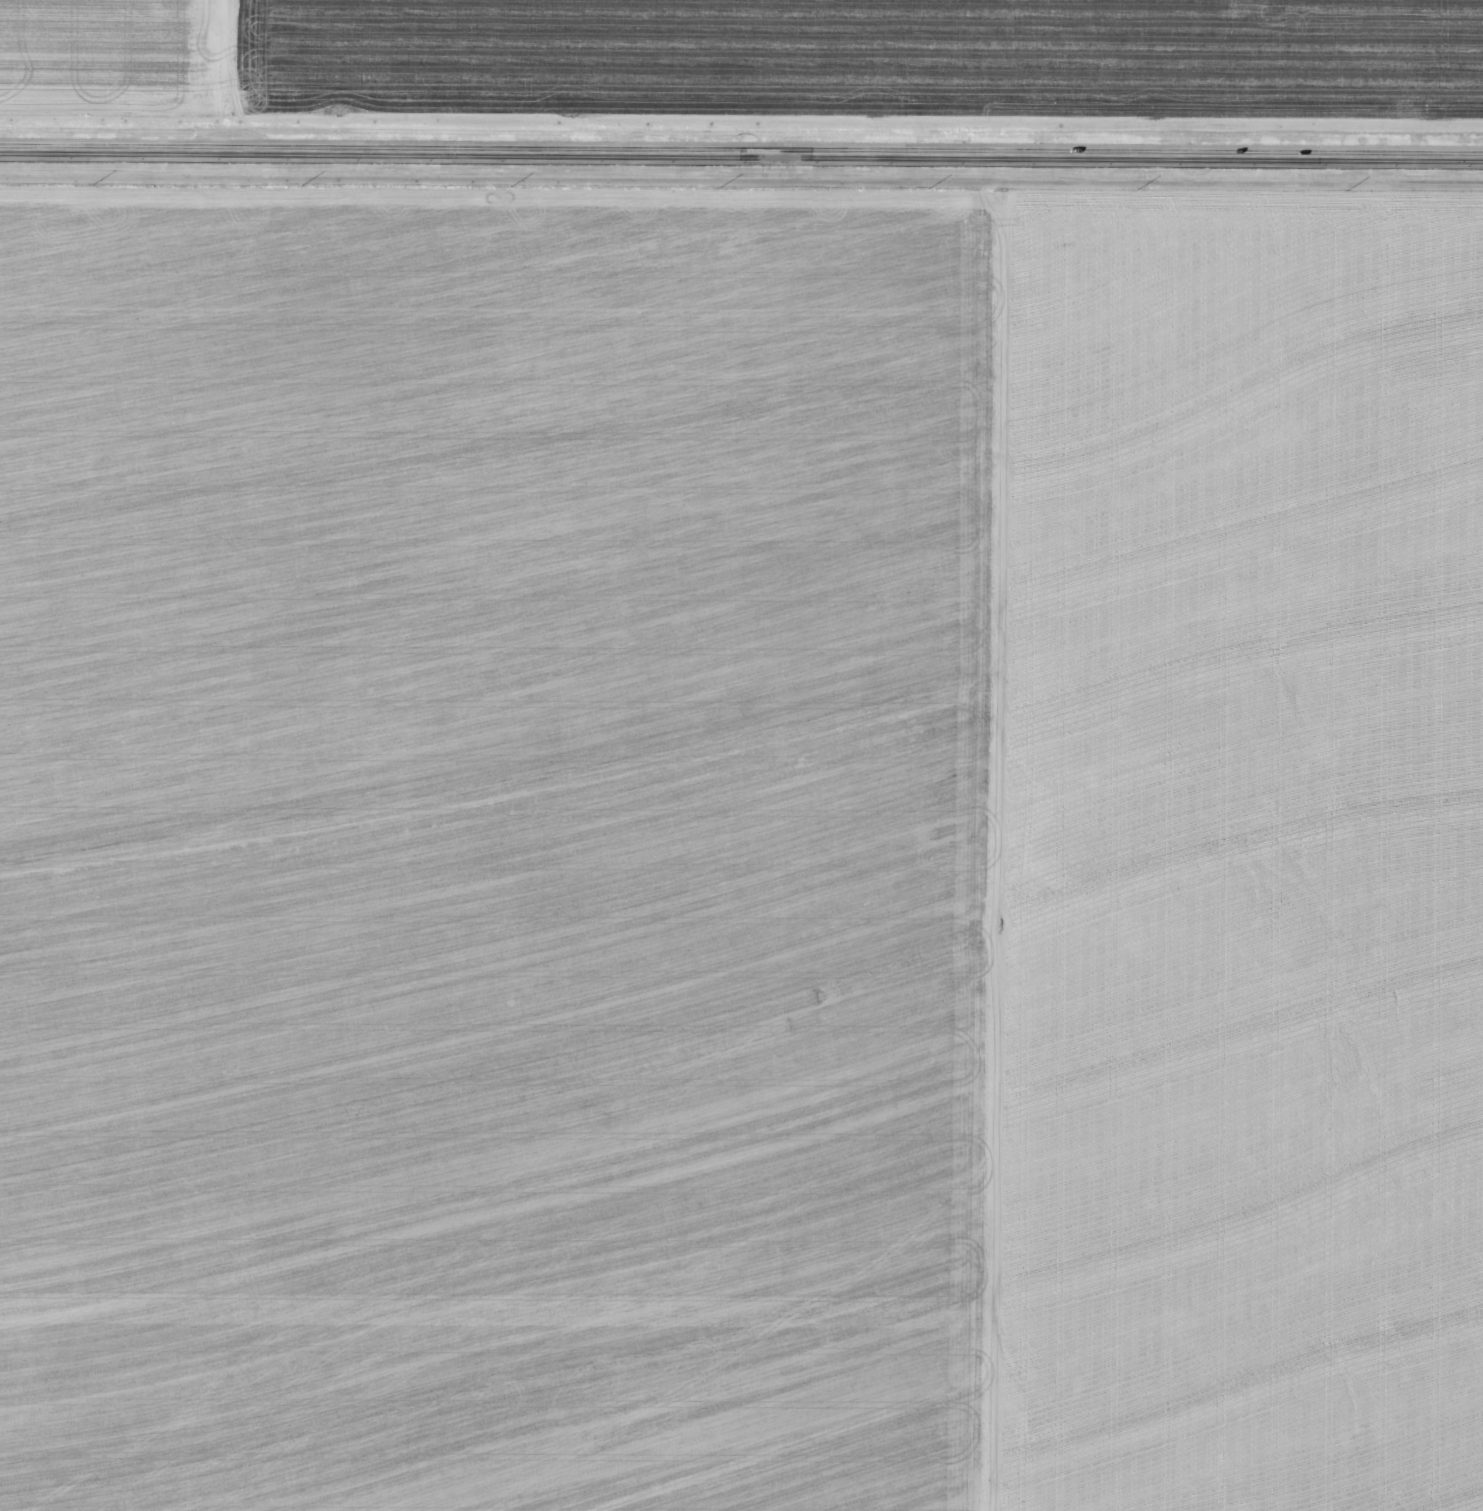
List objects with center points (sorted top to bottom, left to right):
road: (741, 154)

